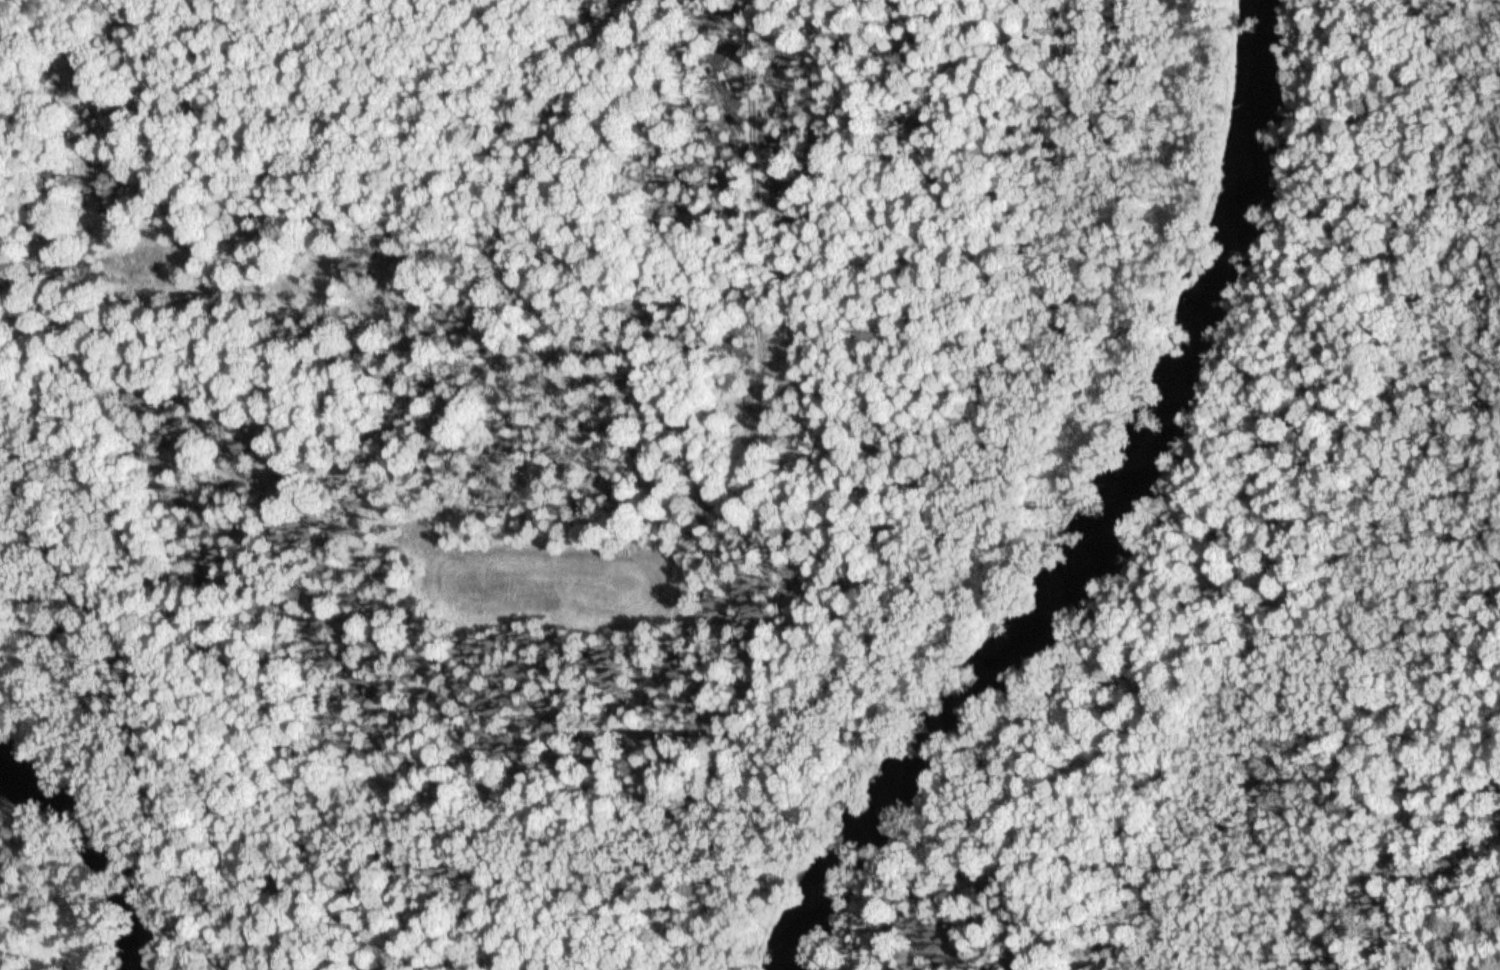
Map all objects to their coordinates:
river: (1119, 529)
river: (76, 879)

